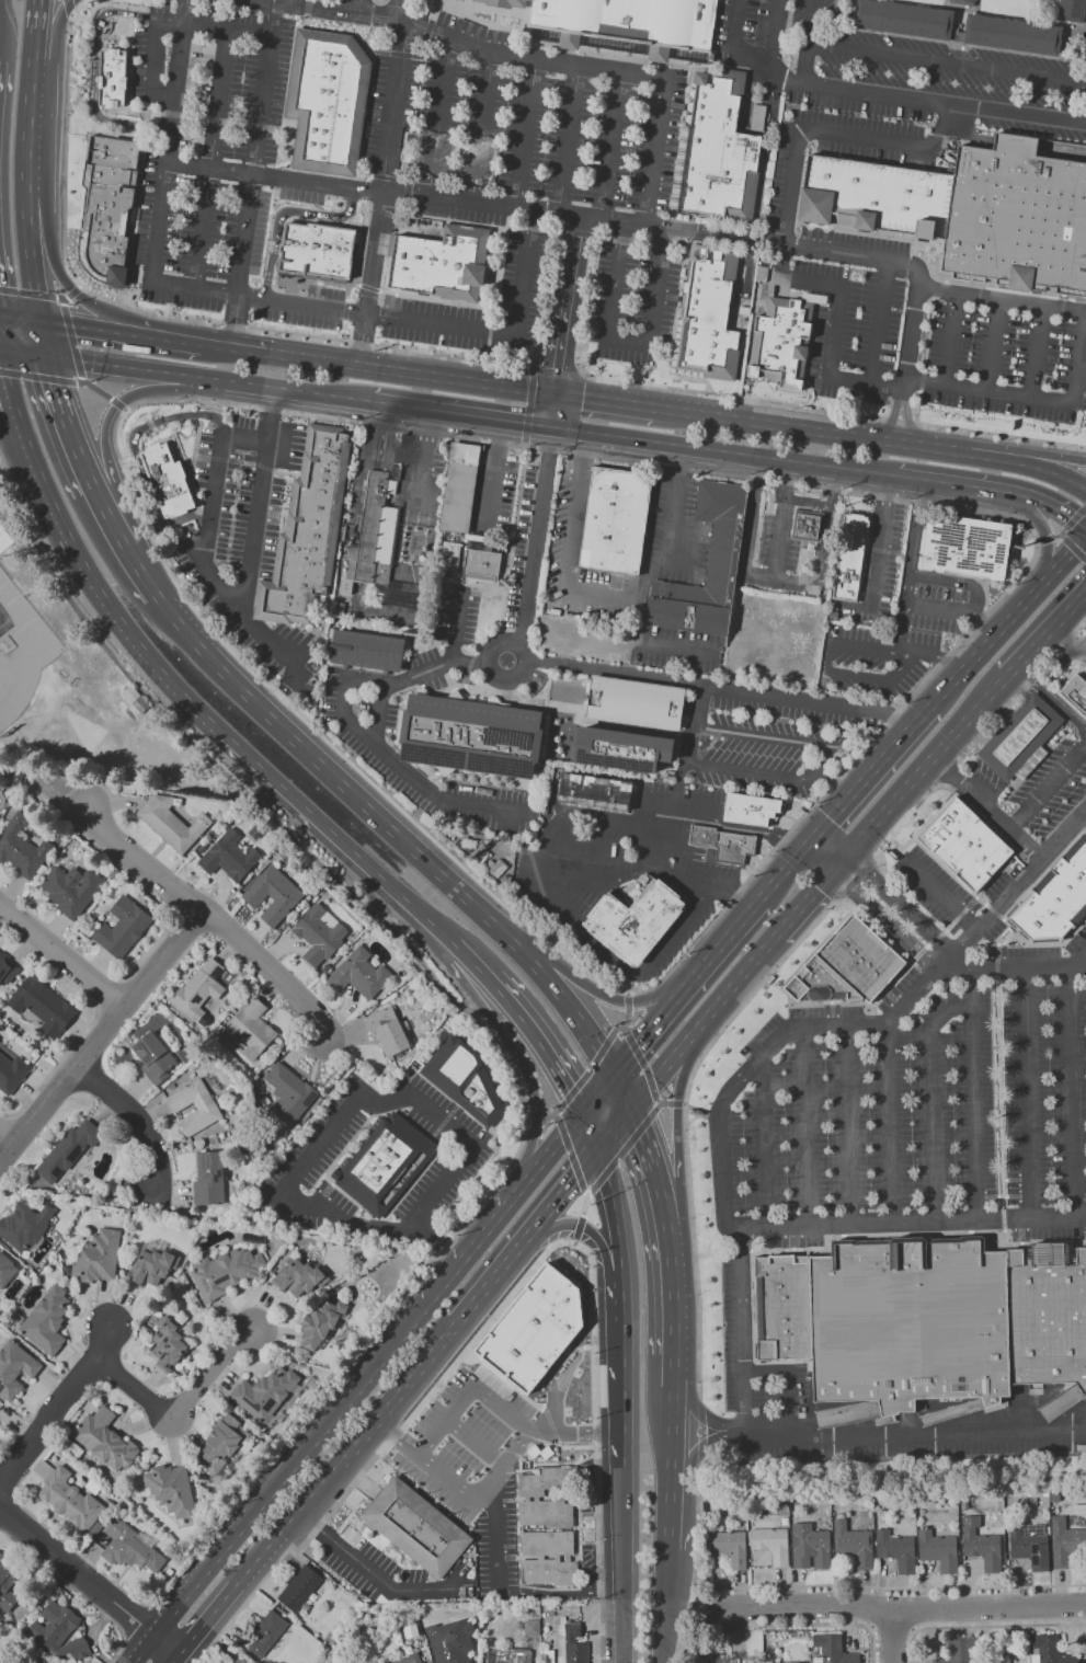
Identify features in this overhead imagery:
building: (964, 2)
building: (505, 3)
road: (68, 7)
road: (362, 8)
building: (1072, 10)
road: (35, 15)
road: (55, 19)
building: (904, 19)
road: (165, 23)
building: (629, 27)
parking lot: (756, 34)
building: (1013, 34)
road: (774, 37)
road: (809, 41)
road: (460, 44)
road: (33, 45)
road: (735, 48)
road: (947, 62)
road: (94, 73)
building: (112, 77)
building: (328, 101)
road: (929, 101)
road: (439, 118)
road: (26, 123)
road: (480, 128)
road: (525, 134)
road: (568, 140)
road: (890, 142)
road: (611, 146)
road: (653, 151)
building: (717, 156)
road: (210, 160)
parking lot: (219, 163)
road: (252, 175)
road: (381, 183)
parking lot: (775, 185)
road: (793, 186)
parking lot: (534, 193)
road: (416, 194)
building: (111, 205)
building: (969, 210)
road: (283, 213)
road: (725, 234)
road: (608, 237)
building: (316, 250)
road: (858, 254)
road: (28, 255)
road: (576, 257)
building: (443, 263)
road: (56, 268)
road: (923, 285)
road: (80, 286)
road: (27, 293)
road: (73, 293)
road: (59, 298)
road: (64, 299)
road: (256, 299)
building: (710, 314)
road: (20, 318)
road: (179, 319)
traffic signals: (39, 321)
road: (877, 322)
road: (834, 324)
road: (77, 325)
road: (42, 339)
road: (157, 339)
parking lot: (934, 339)
road: (626, 340)
road: (72, 341)
building: (782, 342)
road: (948, 343)
road: (561, 346)
road: (493, 348)
road: (990, 348)
traffic signals: (0, 349)
road: (231, 349)
road: (22, 353)
road: (1034, 355)
traffic signals: (45, 356)
traffic signals: (559, 367)
road: (410, 372)
road: (37, 376)
road: (208, 377)
road: (79, 381)
road: (93, 389)
road: (130, 393)
road: (13, 395)
traffic signals: (583, 398)
road: (605, 400)
road: (117, 404)
road: (126, 408)
road: (529, 408)
road: (1037, 408)
road: (822, 410)
road: (461, 414)
flagpole: (151, 416)
road: (717, 416)
traffic signals: (522, 422)
road: (65, 424)
road: (13, 433)
road: (426, 433)
road: (874, 439)
road: (379, 448)
road: (723, 450)
road: (136, 452)
road: (1029, 454)
traffic signals: (547, 456)
road: (363, 460)
road: (1030, 466)
road: (491, 472)
building: (170, 481)
road: (418, 483)
building: (459, 486)
road: (995, 490)
road: (828, 505)
road: (205, 517)
road: (107, 518)
road: (537, 519)
building: (614, 519)
road: (784, 519)
road: (1072, 519)
road: (254, 523)
building: (809, 525)
road: (1039, 528)
road: (750, 530)
building: (311, 532)
building: (371, 536)
road: (1048, 537)
building: (4, 538)
road: (879, 539)
road: (915, 541)
road: (1073, 546)
building: (968, 547)
building: (449, 550)
building: (722, 550)
building: (851, 557)
road: (823, 563)
building: (481, 564)
road: (140, 570)
road: (611, 590)
road: (106, 597)
road: (976, 600)
park: (2, 618)
building: (884, 619)
road: (1007, 619)
road: (982, 622)
road: (457, 627)
road: (901, 629)
road: (1045, 633)
building: (888, 636)
road: (650, 643)
road: (834, 644)
track: (24, 651)
building: (369, 651)
road: (487, 665)
road: (295, 673)
building: (563, 688)
road: (720, 688)
building: (1075, 692)
road: (1015, 697)
road: (276, 699)
road: (1050, 699)
road: (345, 700)
building: (637, 702)
park: (85, 731)
building: (473, 736)
rooftop solar panel: (510, 737)
building: (1022, 738)
road: (870, 743)
road: (378, 745)
road: (688, 745)
building: (624, 749)
road: (892, 752)
rooftop solar panel: (434, 757)
road: (823, 757)
rooftop solar panel: (620, 762)
road: (924, 764)
rooftop solar panel: (503, 767)
road: (834, 781)
road: (1048, 787)
building: (596, 792)
road: (986, 807)
building: (752, 808)
road: (913, 812)
road: (833, 817)
building: (171, 823)
road: (389, 828)
road: (757, 831)
road: (336, 835)
traffic signals: (813, 840)
building: (724, 844)
building: (965, 844)
building: (25, 846)
road: (828, 847)
road: (541, 849)
road: (665, 849)
road: (652, 853)
road: (821, 855)
traffic signals: (844, 855)
building: (228, 856)
road: (836, 862)
road: (787, 870)
traffic signals: (830, 870)
road: (855, 878)
building: (73, 884)
road: (1016, 886)
building: (272, 894)
road: (941, 897)
building: (1055, 898)
road: (357, 899)
road: (802, 902)
road: (900, 904)
road: (212, 917)
building: (636, 920)
road: (884, 922)
building: (122, 929)
road: (732, 932)
building: (319, 933)
road: (66, 951)
road: (1076, 959)
road: (470, 960)
road: (616, 965)
road: (996, 965)
building: (847, 966)
building: (7, 970)
rooftop solar panel: (220, 971)
road: (1014, 971)
building: (358, 973)
road: (690, 982)
road: (729, 987)
building: (199, 988)
road: (595, 991)
rooftop solar panel: (198, 999)
building: (42, 1006)
building: (250, 1028)
road: (624, 1029)
building: (387, 1030)
road: (643, 1034)
road: (102, 1036)
road: (539, 1042)
rooftop solar panel: (149, 1050)
road: (512, 1052)
building: (152, 1057)
road: (643, 1065)
road: (591, 1069)
building: (11, 1073)
traffic signals: (613, 1073)
road: (658, 1074)
building: (465, 1078)
road: (621, 1089)
road: (596, 1092)
building: (287, 1094)
road: (1070, 1094)
road: (1026, 1096)
road: (973, 1097)
road: (999, 1097)
road: (928, 1099)
road: (661, 1103)
road: (676, 1103)
building: (205, 1105)
traffic signals: (630, 1106)
road: (656, 1108)
parking lot: (904, 1112)
traffic signals: (581, 1113)
road: (551, 1114)
road: (343, 1116)
road: (555, 1116)
road: (147, 1120)
road: (675, 1121)
road: (533, 1122)
road: (686, 1124)
road: (888, 1125)
road: (613, 1127)
road: (846, 1127)
road: (805, 1128)
road: (588, 1131)
road: (9, 1133)
road: (763, 1144)
road: (553, 1145)
traffic signals: (596, 1148)
building: (66, 1151)
road: (621, 1151)
road: (648, 1151)
road: (570, 1154)
rooftop solar panel: (76, 1155)
building: (386, 1163)
rooftop solar panel: (206, 1165)
rooftop solar panel: (57, 1168)
rooftop solar panel: (222, 1174)
building: (208, 1177)
road: (563, 1186)
road: (587, 1195)
road: (722, 1202)
road: (584, 1204)
road: (663, 1211)
road: (492, 1217)
road: (615, 1217)
road: (1003, 1219)
building: (24, 1224)
road: (578, 1230)
road: (593, 1234)
road: (435, 1239)
road: (715, 1251)
road: (741, 1251)
building: (98, 1255)
road: (505, 1258)
building: (151, 1266)
building: (5, 1268)
building: (225, 1271)
building: (296, 1276)
rooftop solar panel: (224, 1281)
rooftop solar panel: (206, 1284)
road: (516, 1286)
road: (672, 1289)
building: (784, 1307)
building: (1048, 1314)
road: (621, 1315)
building: (46, 1320)
building: (911, 1321)
building: (319, 1323)
rooftop solar panel: (167, 1324)
building: (537, 1327)
road: (447, 1330)
road: (743, 1331)
rooftop solar panel: (160, 1332)
rooftop solar panel: (173, 1344)
building: (167, 1345)
road: (105, 1346)
rooftop solar panel: (155, 1346)
road: (558, 1363)
rooftop solar panel: (170, 1364)
building: (14, 1367)
road: (673, 1372)
road: (125, 1381)
road: (787, 1381)
road: (469, 1391)
building: (264, 1392)
road: (395, 1392)
rooftop solar panel: (248, 1397)
road: (622, 1402)
road: (704, 1417)
road: (671, 1430)
road: (915, 1432)
road: (702, 1434)
building: (104, 1438)
road: (476, 1441)
building: (220, 1442)
road: (306, 1444)
road: (704, 1447)
parking lot: (476, 1467)
road: (491, 1479)
building: (171, 1489)
building: (531, 1496)
building: (1054, 1498)
building: (69, 1499)
road: (304, 1500)
road: (667, 1511)
building: (415, 1526)
road: (698, 1530)
rooftop solar panel: (1031, 1532)
road: (496, 1534)
building: (1066, 1541)
building: (771, 1544)
building: (855, 1544)
building: (982, 1545)
building: (811, 1546)
building: (1031, 1546)
building: (729, 1548)
rooftop solar panel: (1034, 1548)
building: (132, 1549)
building: (898, 1550)
building: (939, 1550)
building: (548, 1559)
rooftop solar panel: (1034, 1560)
road: (621, 1564)
road: (77, 1568)
road: (368, 1570)
building: (5, 1585)
building: (299, 1587)
road: (895, 1587)
road: (560, 1591)
road: (661, 1605)
road: (691, 1607)
road: (901, 1608)
road: (206, 1619)
road: (776, 1625)
road: (984, 1626)
building: (530, 1627)
road: (894, 1627)
building: (58, 1631)
building: (266, 1633)
building: (809, 1633)
road: (896, 1636)
building: (450, 1641)
road: (165, 1643)
building: (572, 1644)
road: (141, 1648)
building: (833, 1649)
building: (960, 1650)
building: (1048, 1650)
building: (507, 1654)
road: (173, 1659)
building: (409, 1659)
building: (41, 1661)
building: (239, 1661)

